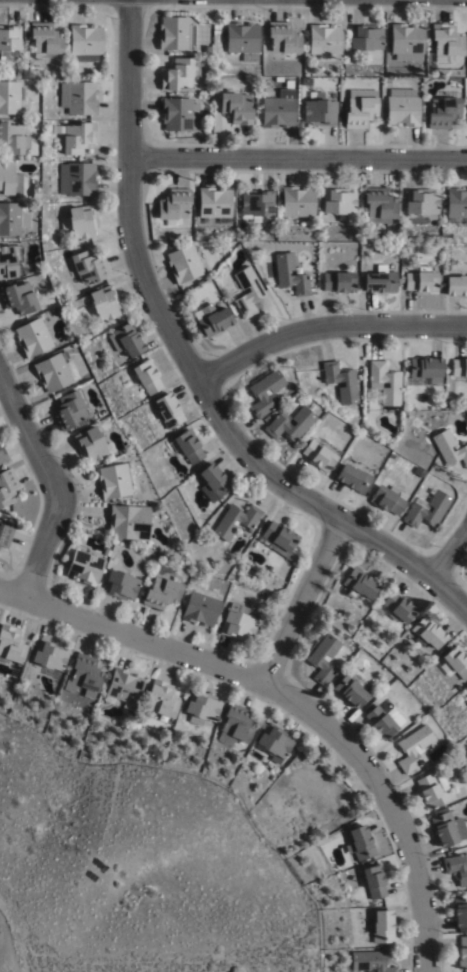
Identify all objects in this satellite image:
building: (175, 34)
building: (366, 37)
building: (283, 38)
building: (45, 41)
building: (242, 41)
building: (325, 41)
building: (407, 41)
building: (447, 42)
building: (9, 43)
building: (85, 43)
building: (177, 74)
building: (79, 97)
building: (11, 98)
building: (402, 107)
building: (235, 108)
building: (277, 110)
building: (444, 111)
building: (360, 112)
building: (257, 113)
building: (319, 113)
building: (179, 115)
building: (76, 138)
building: (12, 139)
building: (1, 153)
road: (297, 160)
building: (77, 179)
building: (9, 181)
building: (36, 193)
building: (297, 202)
building: (339, 202)
building: (421, 202)
building: (380, 204)
building: (215, 205)
building: (255, 205)
building: (457, 205)
building: (173, 207)
building: (13, 219)
building: (80, 223)
building: (240, 225)
building: (10, 263)
building: (183, 264)
building: (89, 268)
building: (281, 276)
building: (380, 281)
building: (420, 281)
building: (338, 283)
building: (456, 287)
building: (247, 292)
building: (18, 299)
building: (105, 304)
building: (212, 321)
road: (326, 329)
building: (33, 338)
building: (69, 340)
building: (127, 341)
building: (73, 345)
road: (189, 367)
building: (459, 368)
building: (55, 372)
building: (426, 372)
building: (147, 378)
building: (341, 383)
building: (385, 383)
building: (264, 394)
building: (71, 412)
building: (169, 412)
building: (415, 422)
building: (289, 425)
building: (92, 447)
building: (187, 448)
building: (450, 450)
building: (320, 456)
building: (3, 457)
building: (419, 474)
building: (353, 480)
building: (116, 482)
road: (53, 484)
building: (214, 484)
building: (7, 489)
building: (387, 501)
building: (426, 510)
building: (236, 522)
building: (128, 523)
building: (4, 538)
building: (279, 539)
road: (449, 552)
building: (84, 565)
building: (120, 582)
building: (359, 582)
building: (162, 590)
road: (299, 603)
building: (399, 605)
building: (201, 607)
building: (239, 619)
building: (428, 631)
building: (11, 641)
building: (50, 653)
building: (322, 658)
building: (455, 661)
building: (85, 675)
building: (124, 686)
building: (350, 688)
building: (466, 689)
building: (163, 697)
road: (293, 701)
building: (203, 706)
building: (380, 721)
building: (236, 724)
building: (276, 741)
building: (414, 746)
building: (431, 789)
building: (448, 828)
building: (360, 842)
building: (457, 866)
building: (374, 881)
building: (460, 909)
building: (383, 926)
building: (462, 951)
building: (371, 961)

